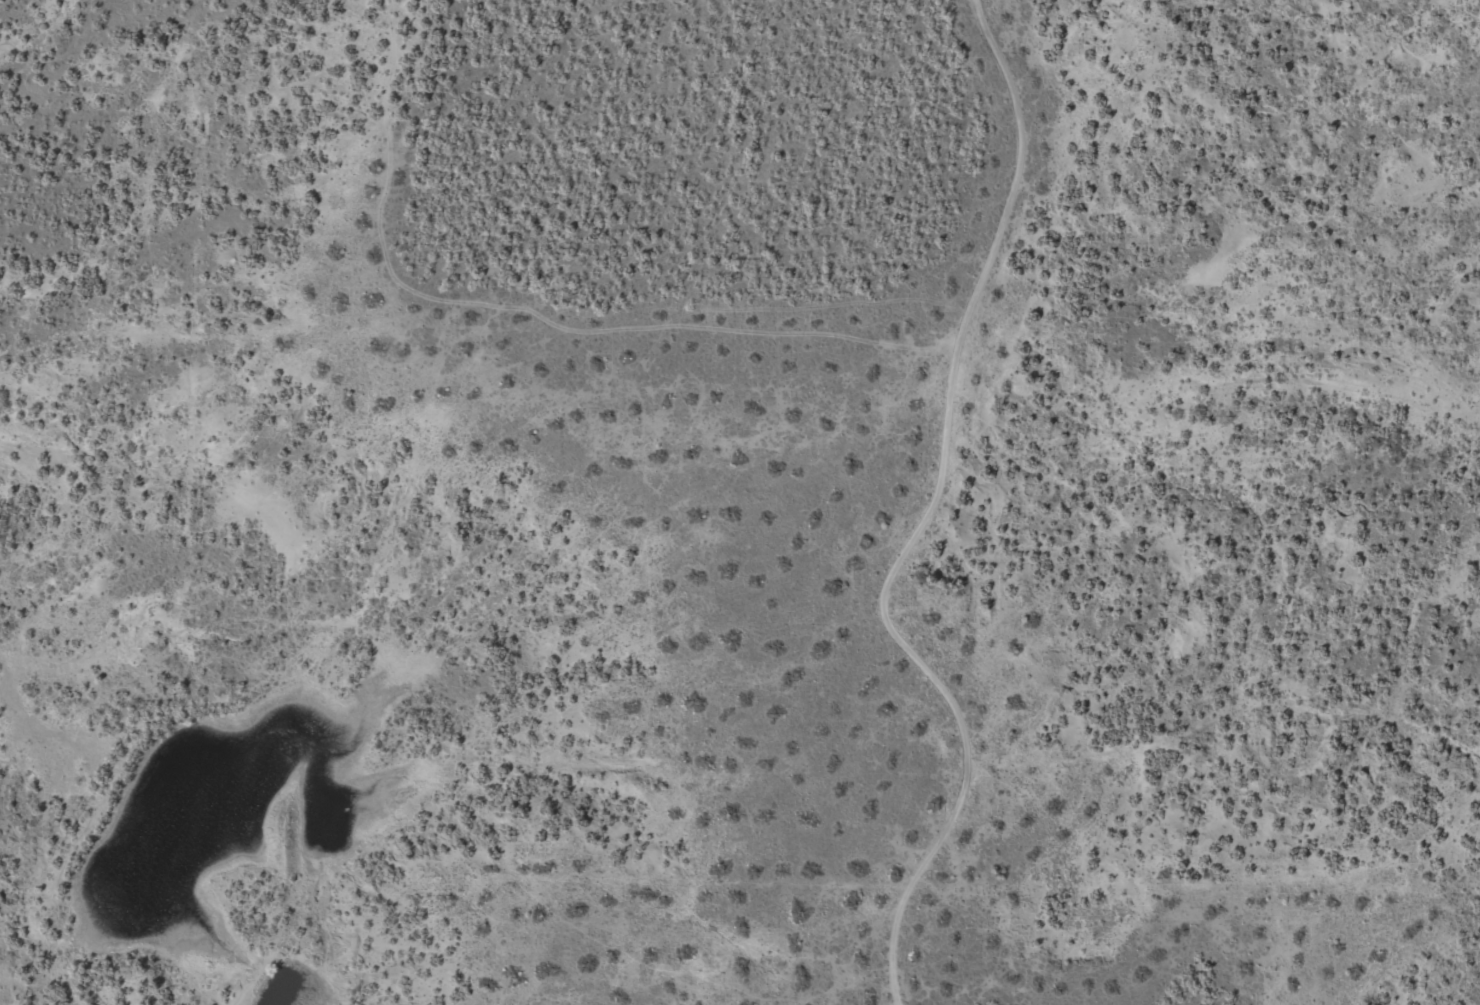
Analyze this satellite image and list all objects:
road: (889, 538)
road: (888, 970)

